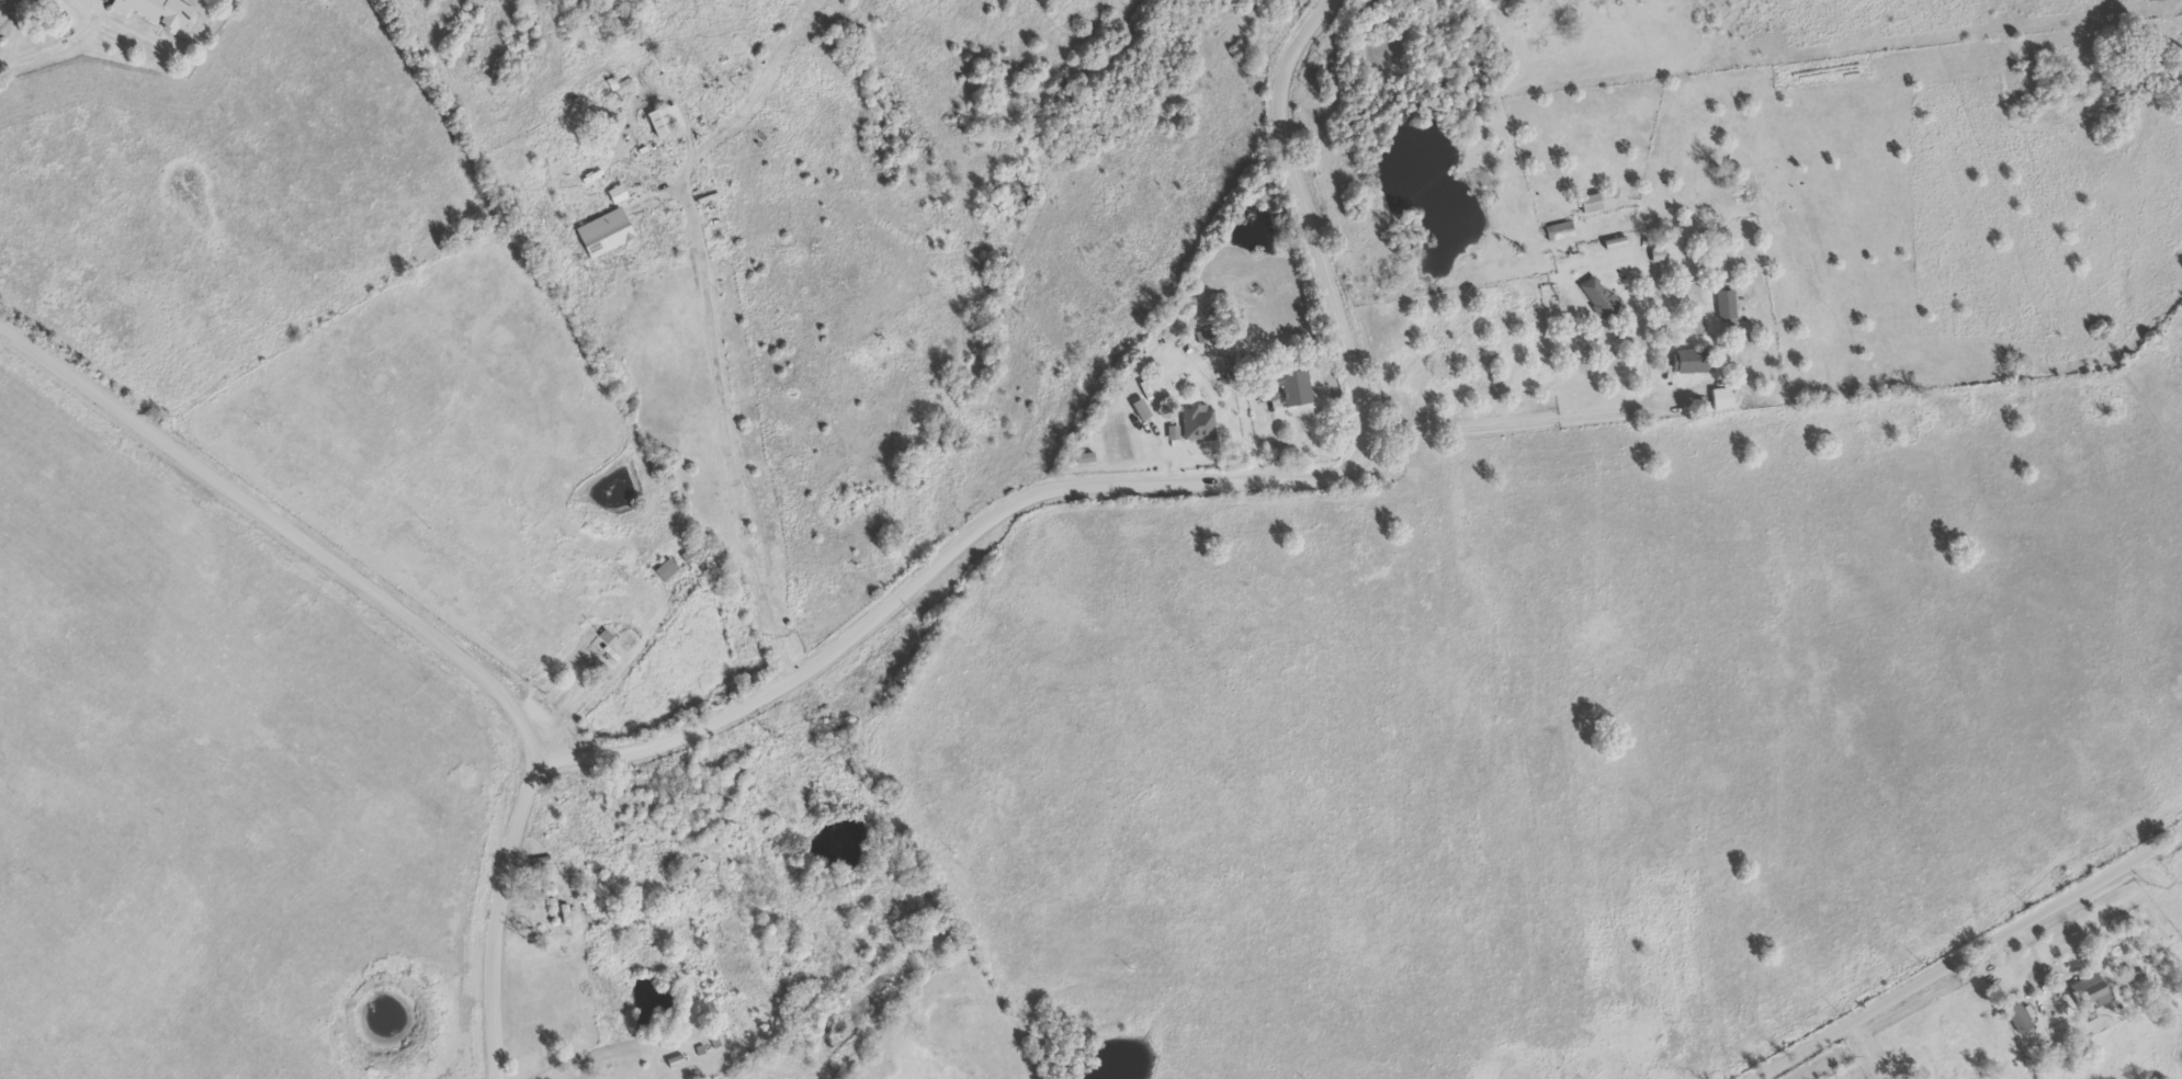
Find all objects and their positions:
building: (159, 11)
road: (13, 29)
road: (737, 113)
building: (666, 118)
building: (1593, 201)
building: (1560, 230)
building: (607, 231)
building: (1602, 296)
road: (1635, 303)
building: (1727, 304)
building: (1691, 360)
building: (1287, 386)
building: (1723, 397)
road: (1519, 414)
building: (1199, 422)
road: (1275, 441)
road: (730, 452)
building: (1088, 456)
road: (1150, 478)
road: (280, 519)
road: (1476, 523)
building: (667, 569)
road: (607, 672)
road: (2161, 874)
road: (500, 909)
road: (1960, 952)
building: (2092, 990)
building: (2021, 1016)
road: (1865, 1046)

